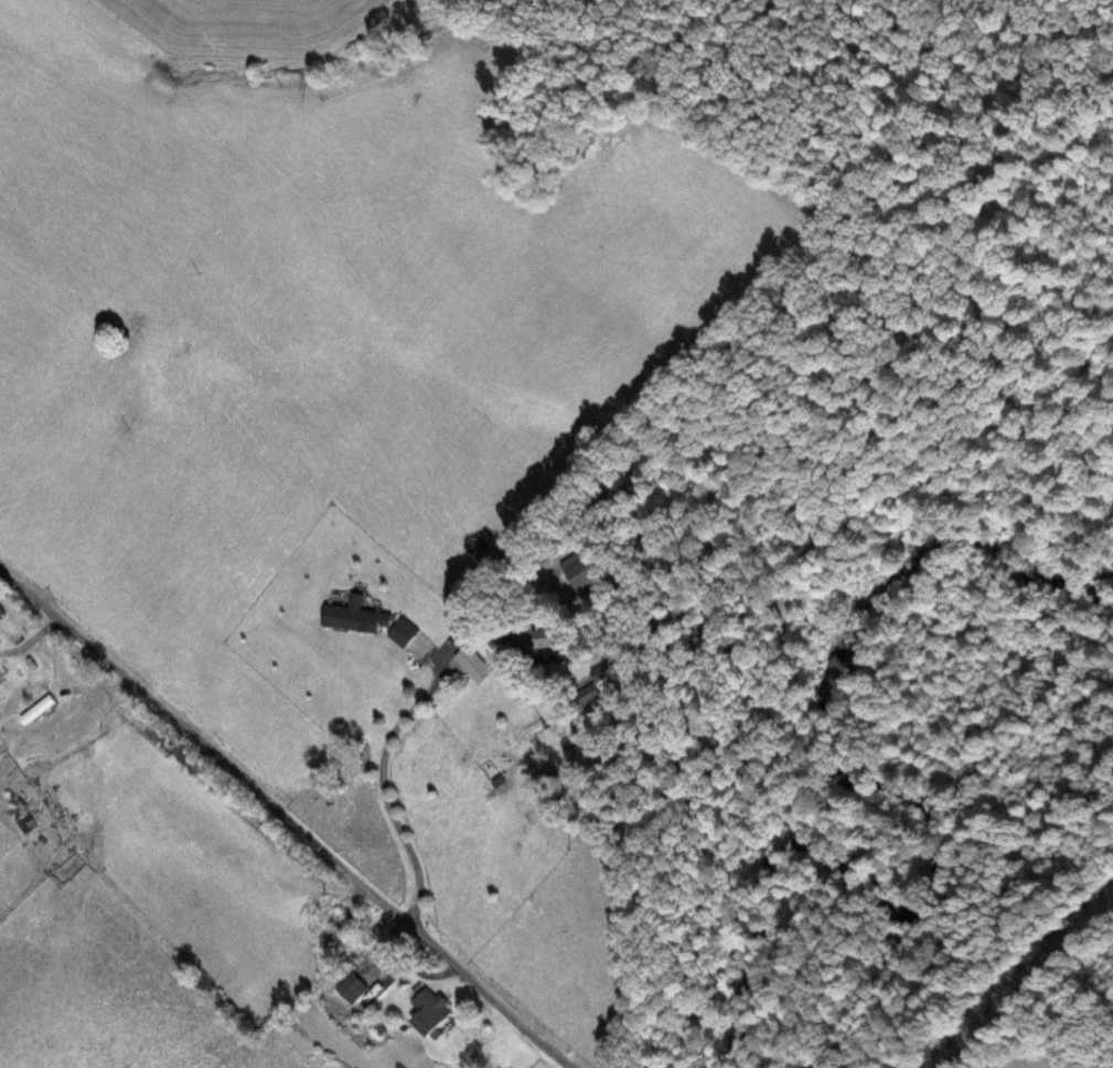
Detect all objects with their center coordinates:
building: (1, 612)
building: (477, 669)
building: (24, 812)
road: (269, 832)
building: (343, 915)
road: (1031, 987)
building: (352, 990)
building: (429, 1013)

